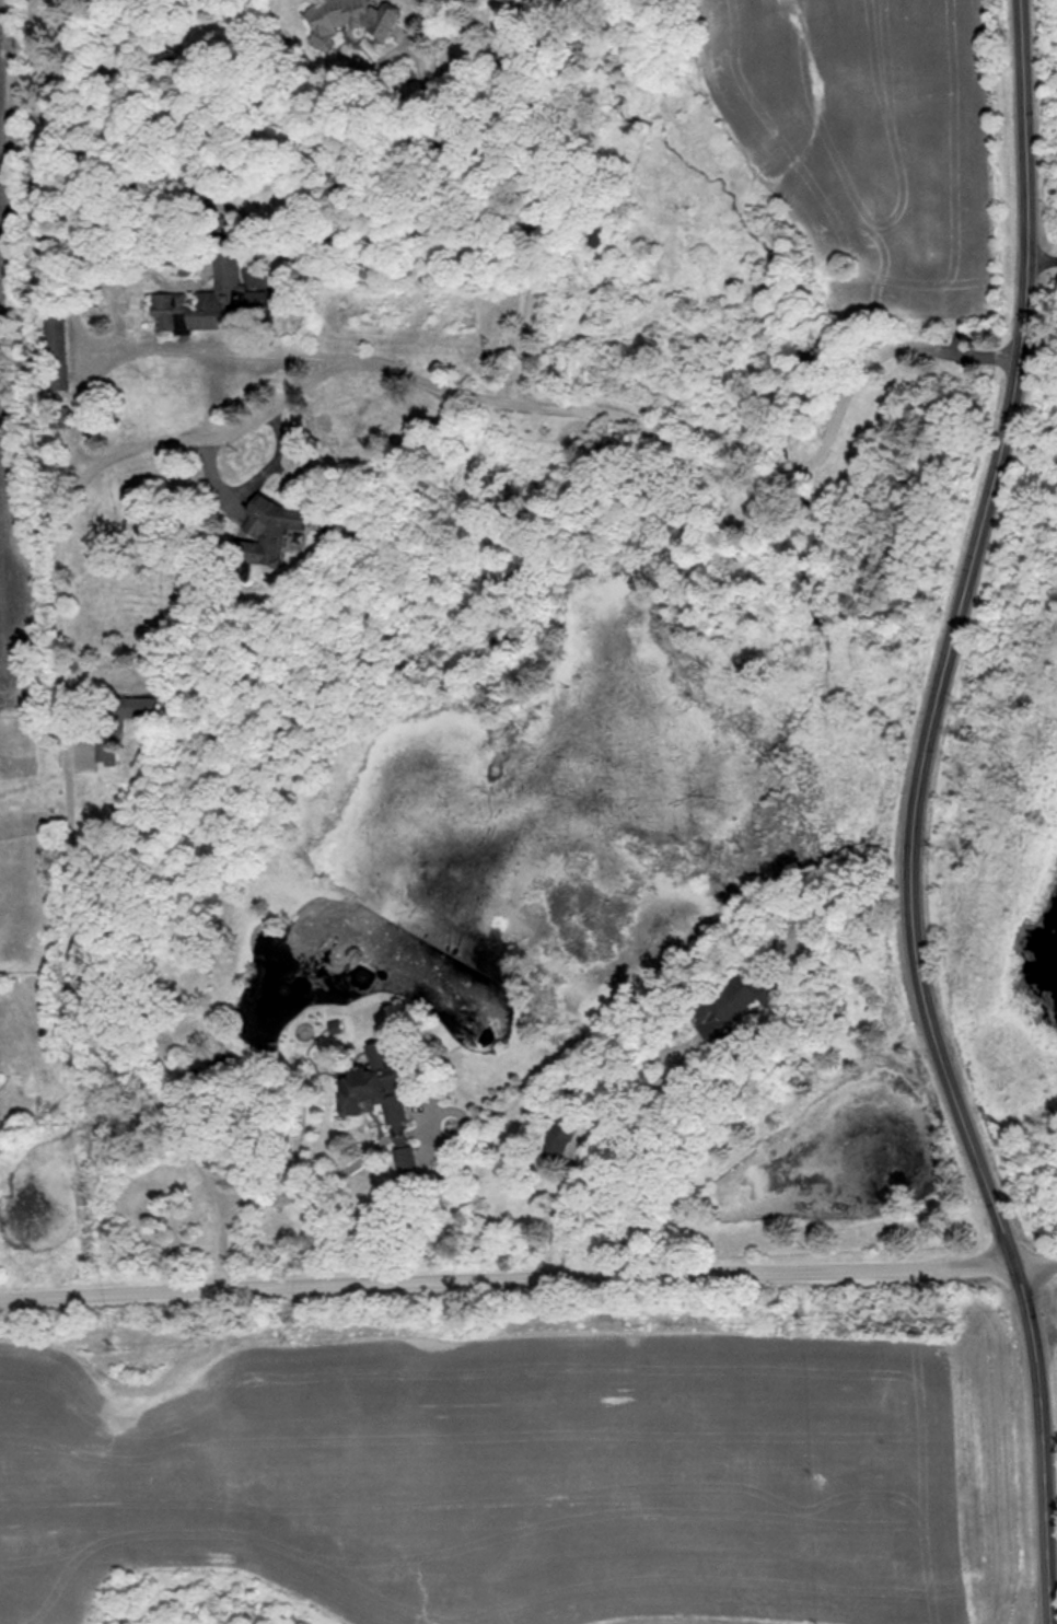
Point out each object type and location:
building: (355, 18)
road: (512, 212)
building: (602, 237)
road: (1045, 257)
building: (214, 294)
building: (55, 349)
road: (226, 349)
road: (883, 362)
road: (787, 477)
road: (251, 479)
road: (60, 530)
building: (259, 538)
building: (116, 720)
road: (918, 814)
building: (775, 979)
building: (729, 1007)
building: (560, 1130)
building: (400, 1145)
road: (589, 1145)
road: (311, 1194)
road: (1038, 1264)
road: (624, 1277)
road: (113, 1292)

